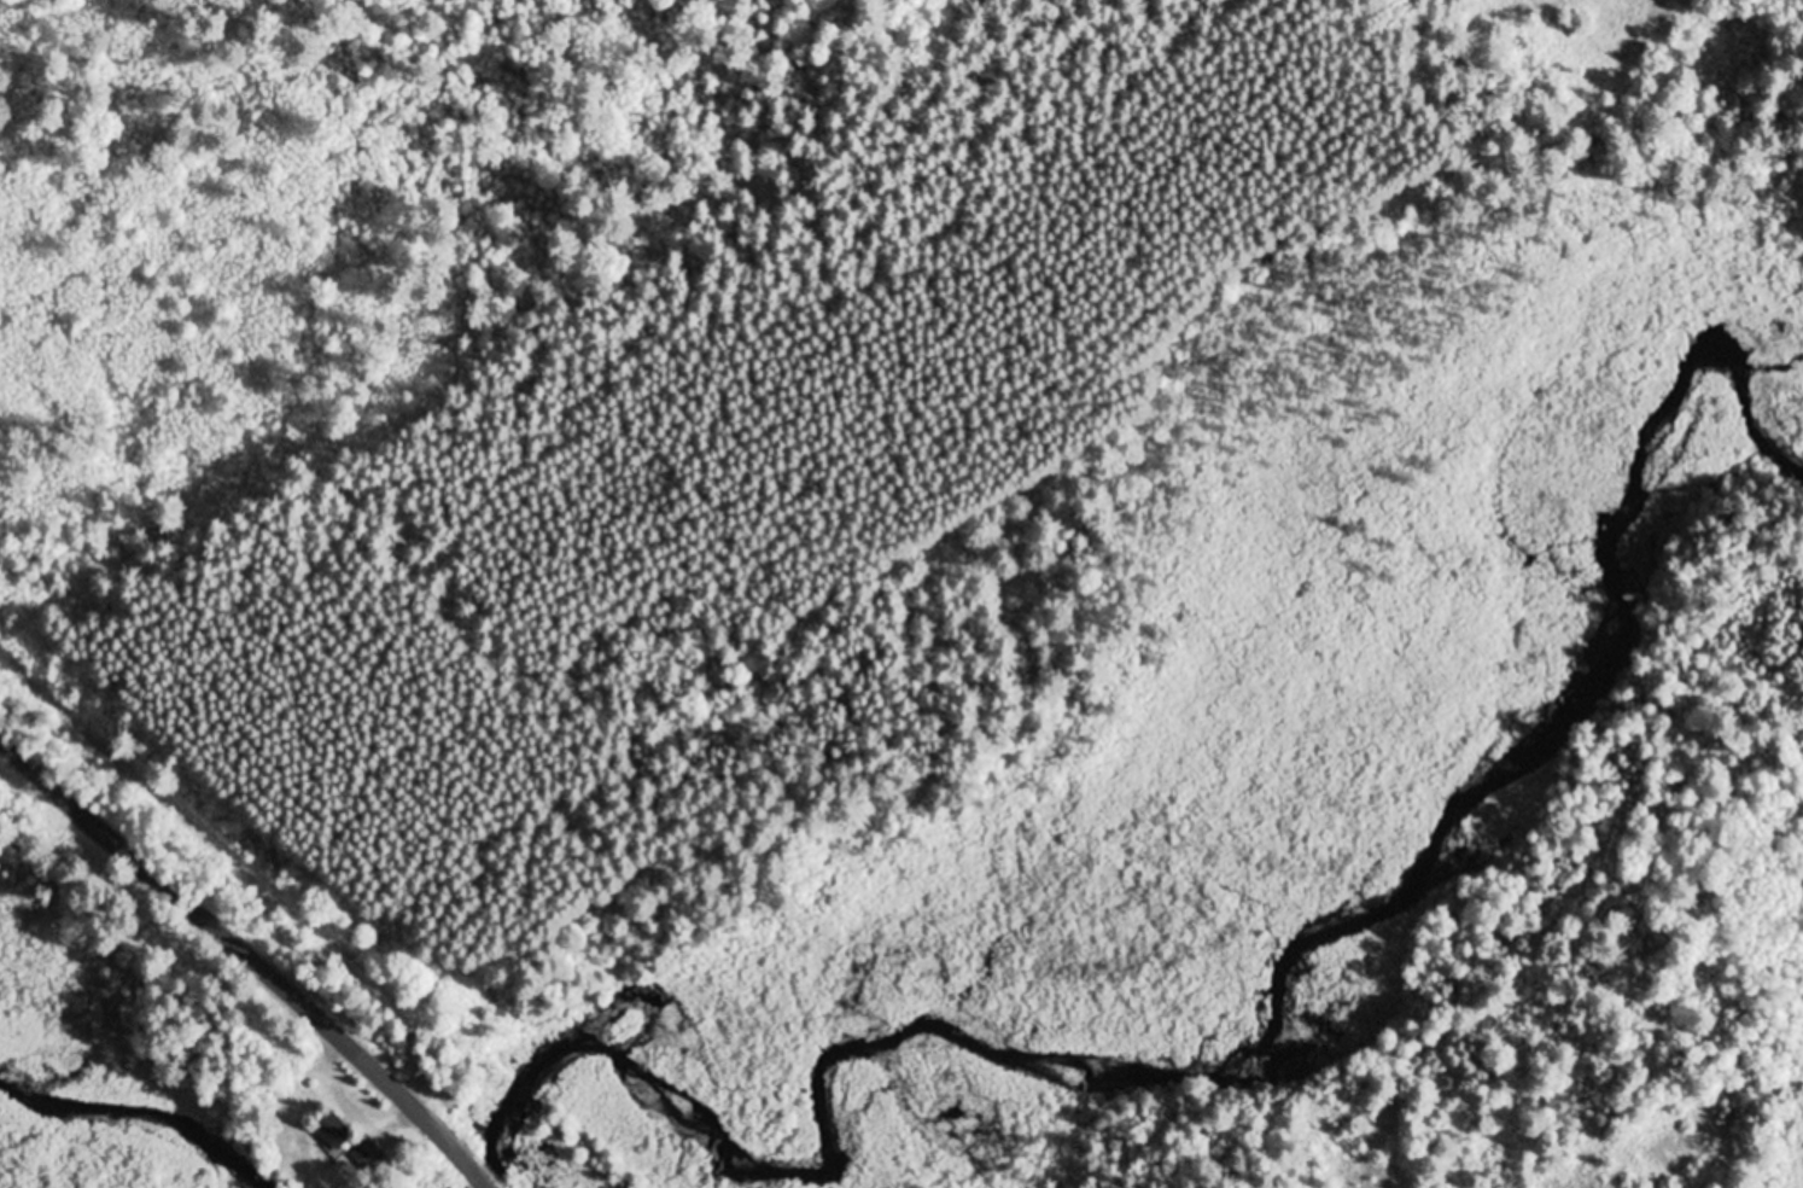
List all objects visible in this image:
road: (234, 953)
building: (335, 1132)
building: (372, 1159)
road: (472, 1175)

